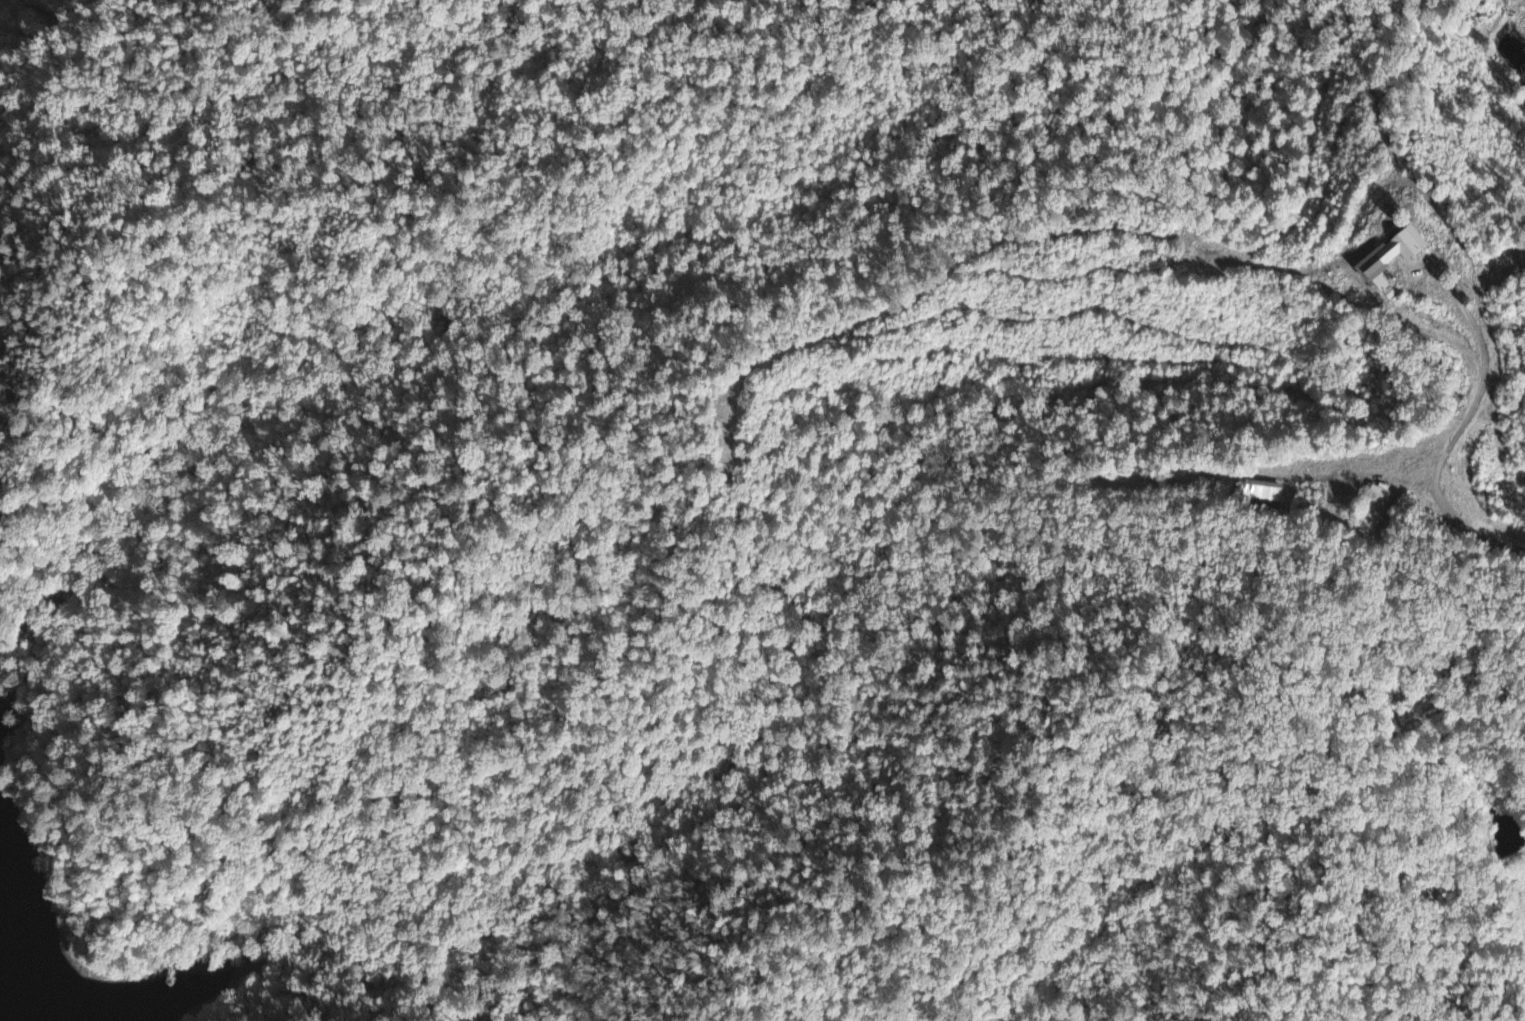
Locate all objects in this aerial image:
building: (1378, 258)
road: (1454, 432)
building: (1259, 494)
building: (1369, 510)

